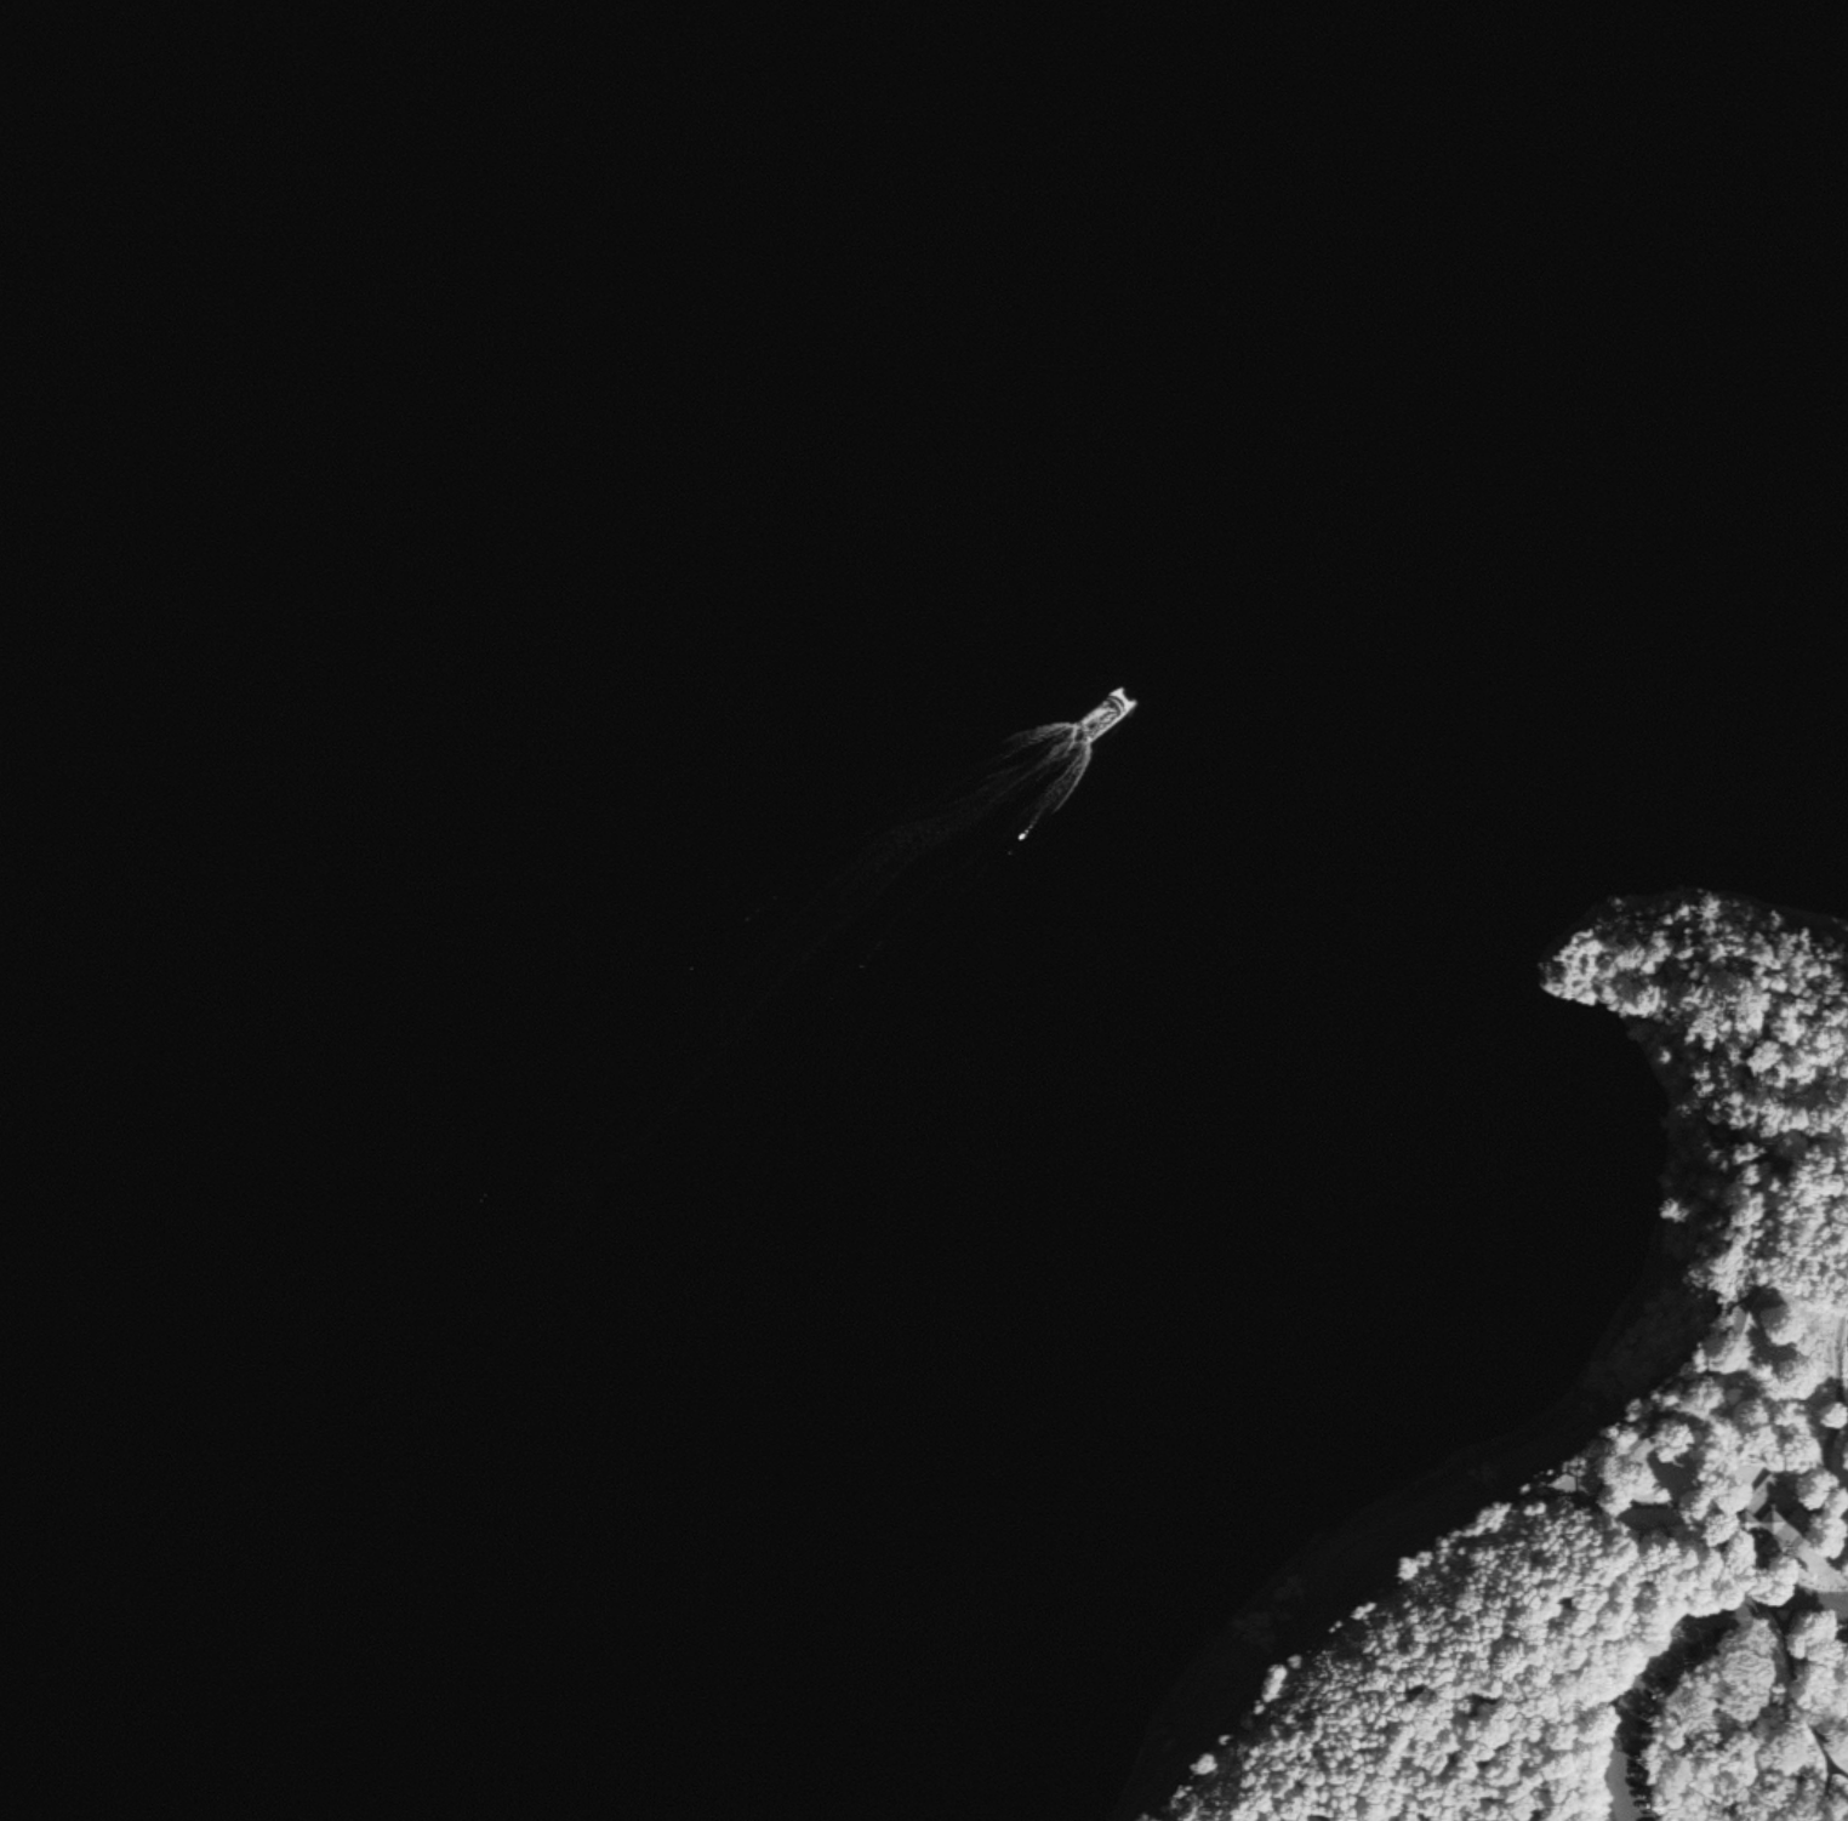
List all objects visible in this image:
road: (1741, 963)
road: (1846, 1305)
road: (1662, 1411)
road: (1830, 1445)
building: (1799, 1520)
building: (1747, 1522)
building: (1774, 1522)
road: (1729, 1535)
building: (1774, 1547)
road: (1676, 1654)
road: (1565, 1655)
road: (1797, 1678)
parking lot: (1675, 1703)
road: (1833, 1743)

